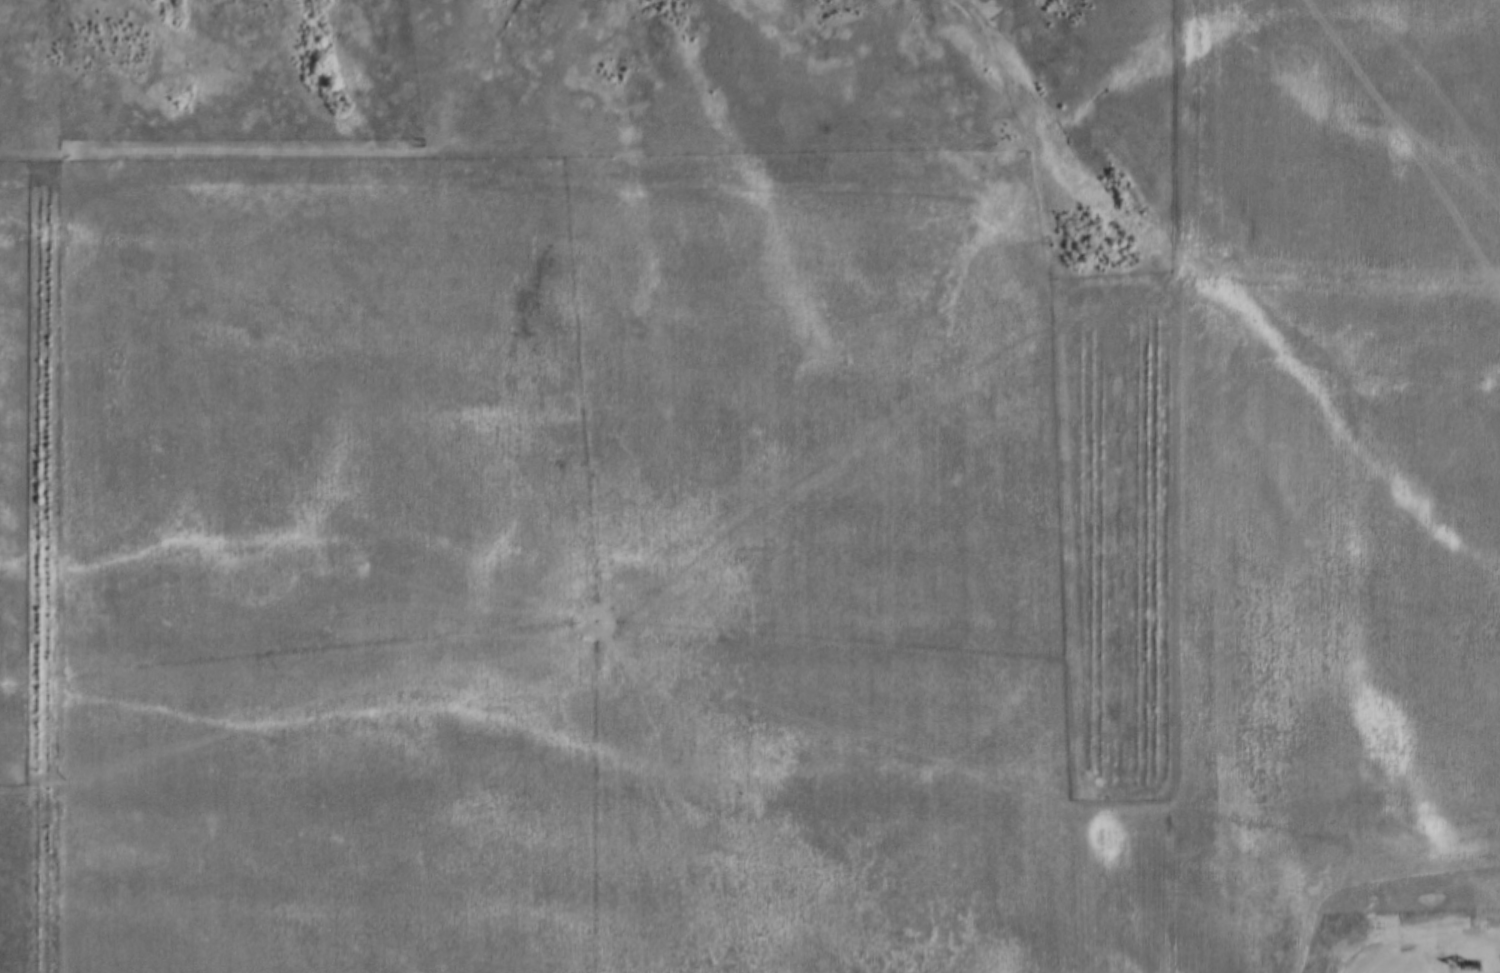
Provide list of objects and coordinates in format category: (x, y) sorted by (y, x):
petroleum well: (1468, 964)

